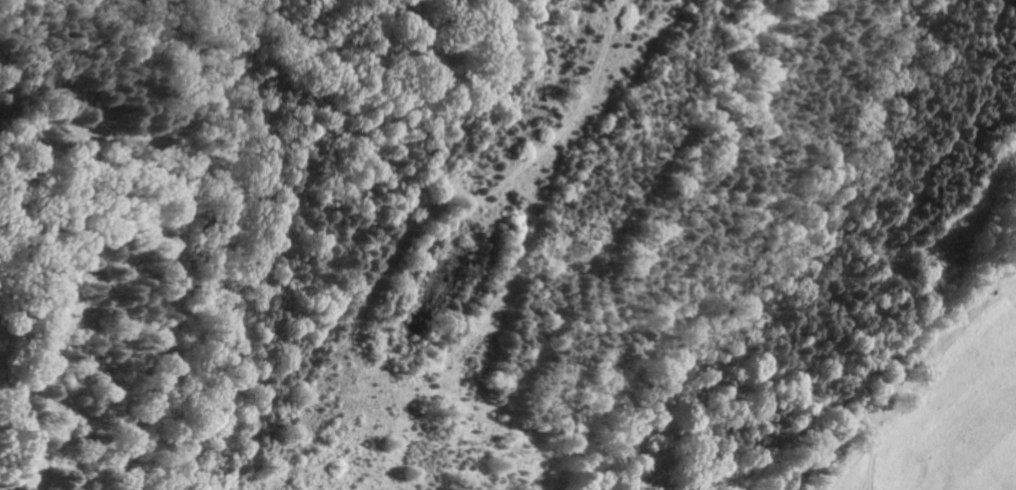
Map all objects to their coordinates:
road: (909, 370)

